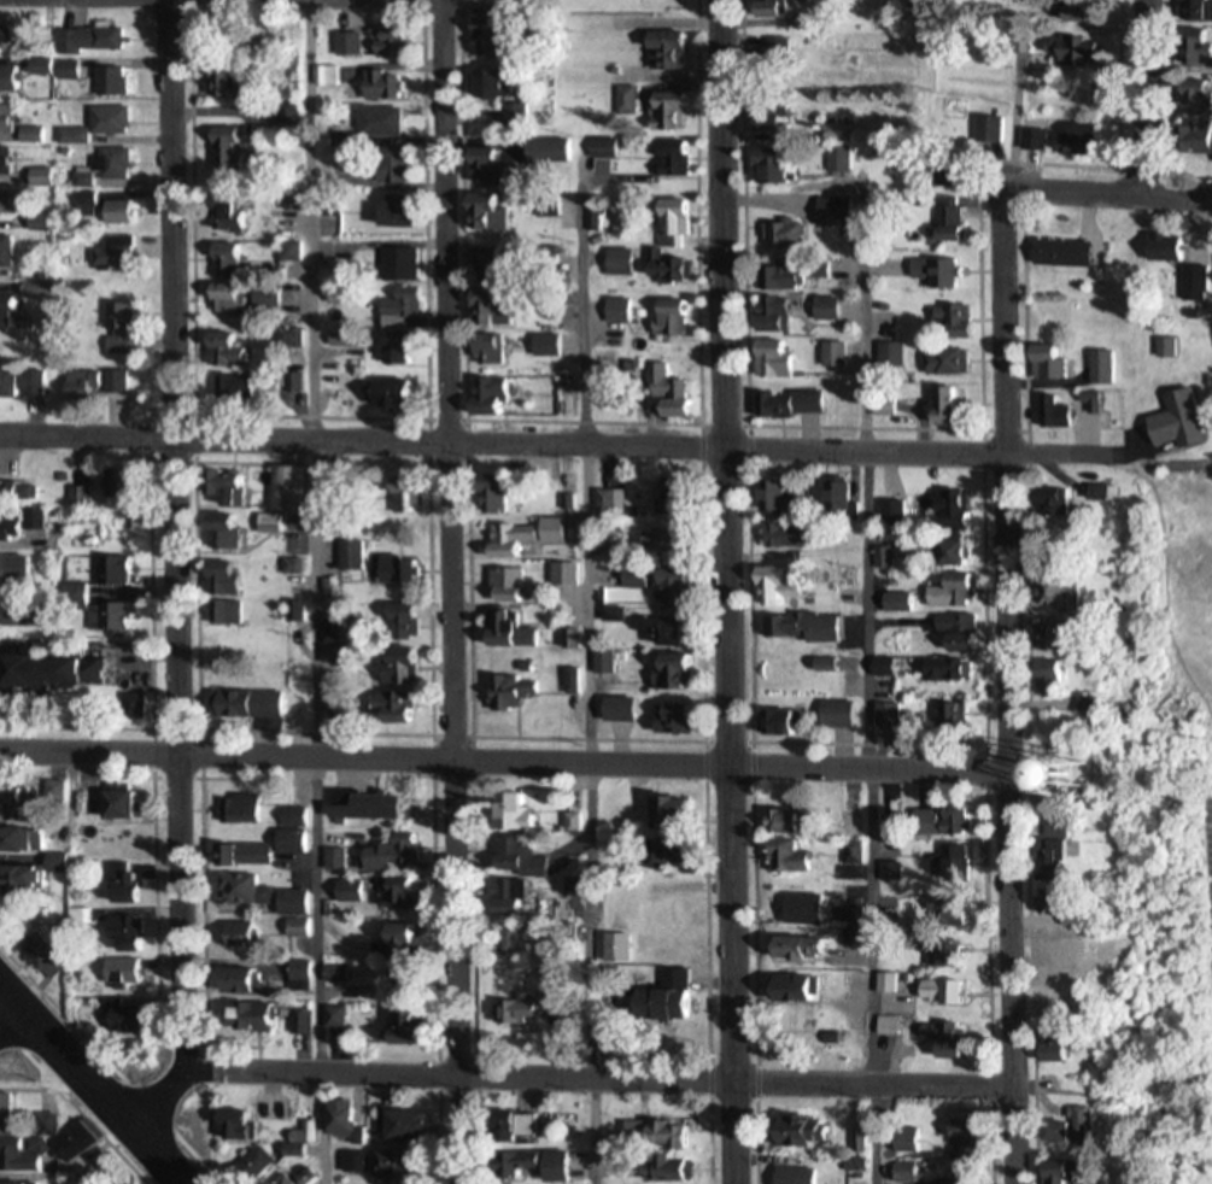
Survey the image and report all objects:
building: (780, 8)
building: (1196, 10)
building: (8, 37)
building: (96, 40)
building: (669, 42)
building: (353, 43)
building: (1207, 51)
building: (781, 57)
building: (47, 66)
building: (13, 80)
building: (117, 82)
building: (500, 84)
building: (385, 86)
road: (1148, 95)
building: (519, 116)
building: (775, 121)
building: (385, 122)
building: (21, 125)
building: (105, 125)
building: (598, 131)
building: (1206, 136)
building: (1038, 139)
building: (1082, 139)
building: (669, 143)
building: (236, 151)
building: (554, 151)
building: (10, 162)
building: (118, 164)
building: (780, 168)
building: (46, 177)
road: (1109, 191)
building: (13, 203)
building: (402, 211)
building: (122, 212)
building: (232, 212)
building: (494, 212)
building: (798, 233)
building: (1178, 248)
building: (1076, 254)
building: (233, 260)
building: (498, 262)
building: (404, 265)
building: (795, 280)
building: (230, 300)
building: (492, 310)
building: (622, 310)
building: (830, 310)
building: (14, 313)
building: (403, 315)
building: (677, 318)
building: (781, 318)
building: (552, 345)
building: (221, 346)
building: (408, 350)
building: (498, 350)
building: (781, 356)
building: (248, 377)
building: (86, 382)
building: (24, 383)
building: (402, 393)
building: (497, 395)
building: (803, 403)
building: (1077, 406)
building: (1183, 422)
road: (563, 444)
building: (240, 491)
building: (416, 496)
building: (956, 500)
building: (844, 503)
building: (24, 514)
building: (283, 523)
building: (229, 526)
building: (792, 537)
building: (514, 546)
building: (954, 553)
building: (21, 568)
building: (400, 568)
building: (230, 579)
building: (510, 584)
road: (181, 587)
building: (780, 587)
road: (316, 591)
building: (954, 591)
road: (449, 592)
road: (725, 592)
building: (1068, 594)
building: (236, 612)
building: (410, 619)
building: (953, 622)
building: (816, 627)
building: (510, 628)
building: (338, 652)
road: (587, 663)
building: (406, 664)
building: (891, 668)
building: (952, 670)
building: (64, 672)
road: (870, 682)
road: (1015, 690)
building: (515, 691)
building: (396, 707)
building: (258, 708)
building: (625, 709)
building: (842, 713)
building: (683, 719)
building: (786, 722)
road: (508, 758)
building: (1131, 778)
water tower: (1077, 779)
building: (127, 802)
building: (371, 805)
building: (253, 809)
building: (789, 822)
building: (935, 822)
building: (853, 826)
park: (1198, 828)
building: (299, 831)
building: (29, 840)
building: (260, 855)
building: (800, 856)
building: (527, 857)
building: (41, 874)
building: (118, 884)
building: (248, 890)
building: (355, 892)
building: (408, 895)
building: (300, 904)
building: (808, 909)
building: (1079, 909)
building: (300, 927)
building: (247, 934)
building: (513, 938)
building: (1075, 945)
building: (812, 948)
building: (48, 960)
parking lot: (1198, 969)
building: (127, 972)
building: (246, 981)
building: (807, 990)
building: (953, 991)
building: (1078, 992)
building: (677, 1006)
building: (275, 1018)
building: (1070, 1053)
road: (576, 1080)
road: (95, 1084)
building: (405, 1125)
building: (523, 1125)
building: (242, 1126)
building: (301, 1135)
building: (661, 1135)
building: (815, 1136)
building: (78, 1144)
building: (18, 1156)
building: (253, 1161)
building: (550, 1167)
building: (403, 1168)
building: (1076, 1172)
building: (911, 1173)
building: (803, 1177)

